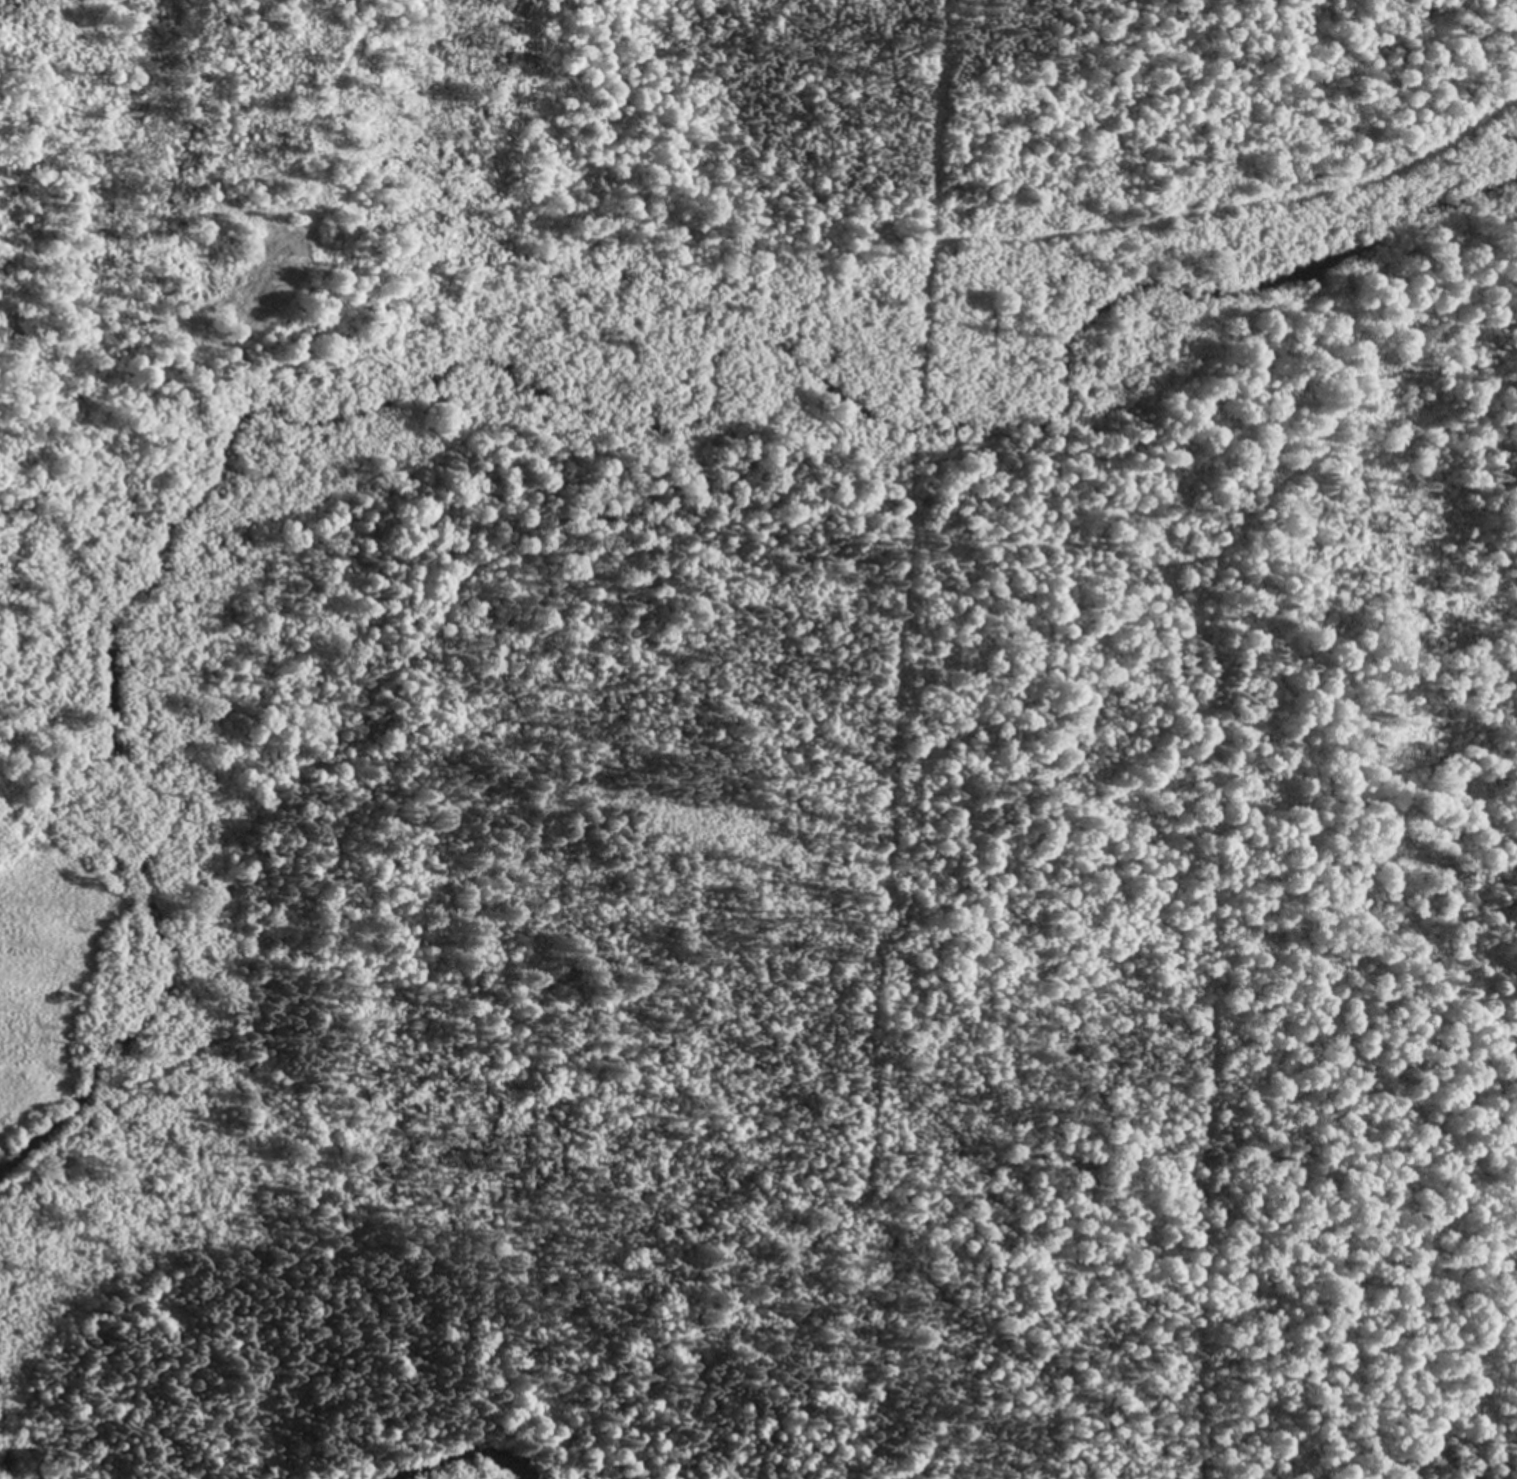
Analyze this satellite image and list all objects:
crop: (15, 945)
river: (451, 1457)

